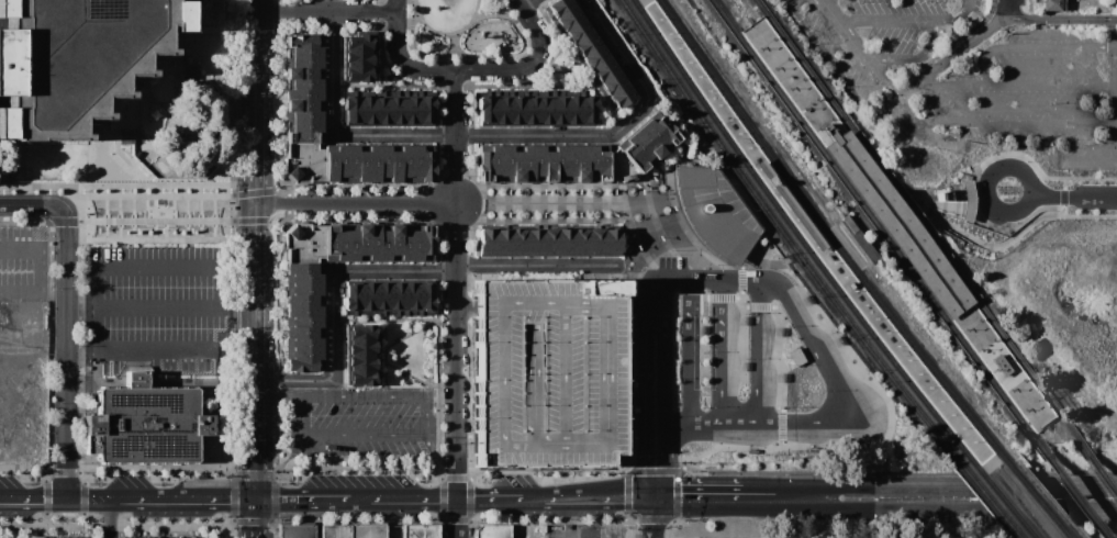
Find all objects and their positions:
road: (526, 3)
building: (1053, 5)
railway: (761, 7)
building: (558, 8)
road: (1008, 8)
road: (326, 10)
road: (1061, 16)
railway: (723, 18)
road: (1115, 18)
building: (569, 19)
road: (908, 20)
building: (578, 32)
road: (1115, 36)
building: (360, 42)
building: (587, 45)
road: (1034, 46)
road: (861, 54)
road: (913, 56)
building: (75, 58)
building: (358, 58)
building: (595, 58)
building: (303, 61)
road: (945, 61)
road: (256, 66)
road: (469, 69)
building: (604, 70)
building: (359, 74)
building: (612, 83)
road: (1017, 86)
building: (621, 97)
building: (483, 107)
building: (501, 108)
building: (516, 108)
building: (530, 108)
building: (545, 108)
building: (558, 108)
building: (572, 108)
building: (351, 109)
building: (367, 109)
building: (381, 109)
building: (395, 109)
building: (410, 109)
building: (587, 109)
building: (426, 111)
building: (303, 115)
road: (1008, 121)
road: (490, 135)
building: (649, 142)
road: (1114, 149)
road: (1051, 153)
road: (102, 159)
building: (304, 162)
building: (368, 162)
building: (510, 162)
building: (342, 164)
building: (390, 164)
building: (416, 164)
building: (573, 164)
road: (980, 166)
road: (256, 167)
building: (619, 167)
road: (1030, 180)
road: (671, 190)
road: (1062, 191)
road: (1074, 195)
building: (707, 197)
road: (659, 198)
building: (965, 201)
road: (156, 202)
road: (356, 203)
road: (551, 204)
road: (923, 204)
road: (31, 205)
road: (650, 209)
road: (625, 211)
road: (1090, 215)
road: (680, 220)
building: (898, 224)
railway: (924, 227)
road: (660, 232)
road: (633, 234)
railway: (883, 235)
railway: (785, 237)
railway: (798, 237)
building: (723, 238)
railway: (829, 238)
building: (859, 238)
building: (351, 242)
building: (405, 242)
building: (487, 242)
building: (503, 242)
building: (518, 242)
building: (534, 242)
building: (549, 242)
building: (565, 242)
building: (580, 242)
building: (596, 242)
building: (612, 242)
building: (305, 243)
road: (993, 245)
road: (639, 246)
road: (727, 246)
parking lot: (22, 260)
road: (543, 266)
road: (40, 269)
road: (740, 271)
road: (661, 277)
road: (705, 277)
building: (304, 278)
road: (730, 278)
road: (748, 278)
road: (772, 280)
road: (98, 282)
road: (740, 282)
road: (456, 284)
road: (718, 295)
building: (351, 298)
building: (367, 298)
road: (629, 298)
building: (381, 299)
building: (395, 299)
building: (409, 299)
building: (425, 299)
road: (334, 302)
road: (160, 303)
road: (625, 303)
road: (641, 303)
road: (758, 305)
parking lot: (161, 306)
road: (629, 309)
road: (257, 311)
building: (304, 311)
road: (722, 318)
building: (364, 333)
building: (362, 348)
road: (689, 348)
building: (303, 349)
road: (756, 349)
road: (65, 355)
road: (662, 360)
building: (362, 363)
building: (1002, 365)
building: (547, 372)
parking lot: (547, 372)
building: (362, 378)
road: (721, 390)
road: (278, 392)
road: (365, 392)
road: (844, 392)
road: (628, 393)
road: (645, 400)
road: (299, 414)
railway: (1055, 415)
road: (889, 417)
road: (677, 421)
road: (704, 421)
road: (738, 421)
road: (759, 421)
building: (145, 423)
road: (781, 425)
road: (387, 437)
railway: (1035, 439)
road: (256, 459)
road: (664, 460)
railway: (1098, 467)
railway: (991, 471)
road: (652, 472)
road: (972, 485)
railway: (1072, 492)
road: (678, 494)
road: (628, 495)
road: (33, 497)
road: (92, 498)
road: (187, 498)
traffic signals: (255, 498)
road: (302, 498)
road: (413, 498)
road: (490, 498)
road: (601, 498)
traffic signals: (652, 498)
road: (697, 498)
road: (761, 498)
road: (806, 498)
railway: (986, 498)
railway: (1036, 498)
road: (360, 500)
road: (537, 500)
railway: (1001, 500)
road: (973, 509)
road: (652, 517)
road: (108, 518)
road: (255, 518)
road: (458, 518)
road: (569, 518)
road: (654, 519)
building: (491, 530)
building: (297, 531)
building: (335, 531)
building: (368, 531)
building: (421, 531)
railway: (1064, 533)
railway: (1015, 534)
railway: (1029, 534)
parking lot: (120, 535)
building: (29, 537)

